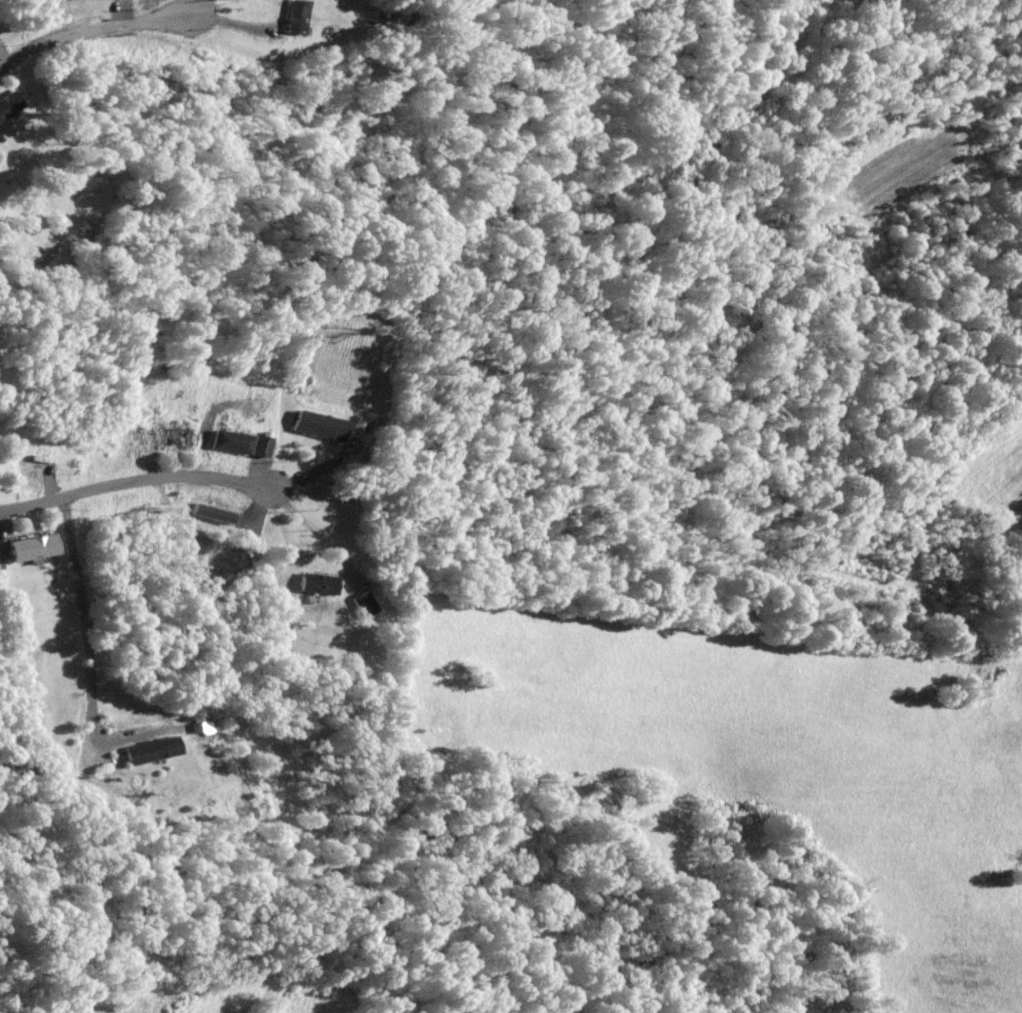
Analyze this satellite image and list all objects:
road: (190, 7)
building: (297, 16)
building: (381, 19)
road: (225, 21)
road: (88, 31)
road: (5, 53)
building: (11, 105)
building: (317, 424)
building: (174, 436)
building: (230, 441)
road: (258, 461)
road: (148, 463)
road: (312, 471)
road: (133, 481)
road: (320, 533)
road: (7, 537)
building: (36, 546)
building: (323, 583)
building: (368, 603)
road: (93, 654)
building: (210, 731)
building: (158, 749)
building: (231, 797)

